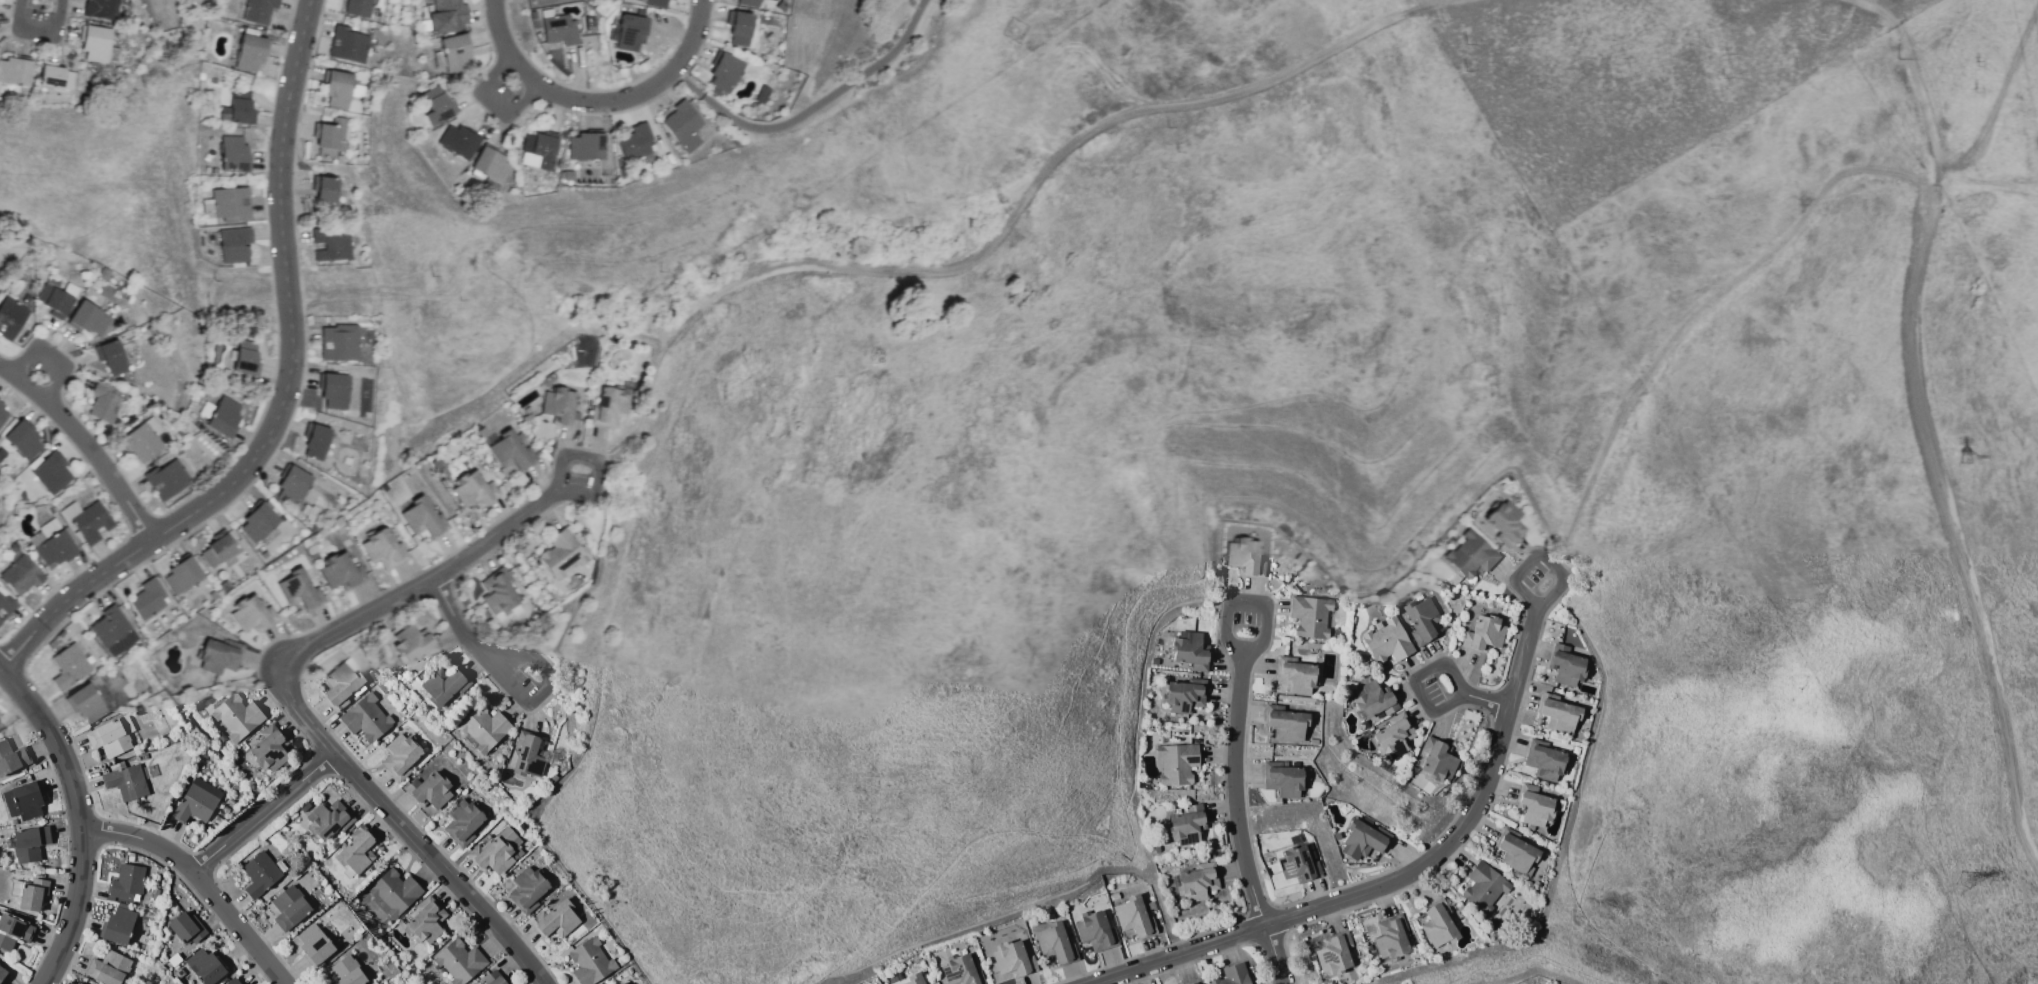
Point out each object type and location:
road: (1433, 1)
building: (655, 3)
building: (748, 3)
building: (356, 7)
building: (100, 9)
building: (257, 10)
building: (446, 16)
building: (739, 29)
road: (38, 30)
building: (558, 30)
building: (629, 32)
building: (93, 43)
building: (348, 45)
building: (250, 52)
building: (454, 52)
power tower: (1979, 63)
building: (14, 71)
building: (723, 71)
road: (1917, 75)
building: (53, 76)
crop: (1637, 79)
building: (337, 88)
power tower: (1978, 91)
road: (598, 98)
road: (496, 102)
building: (240, 107)
road: (812, 107)
building: (438, 108)
building: (683, 126)
building: (330, 136)
building: (457, 141)
building: (634, 141)
building: (585, 146)
building: (539, 147)
building: (233, 153)
building: (489, 164)
road: (1990, 185)
building: (324, 196)
building: (227, 204)
road: (1017, 221)
building: (233, 244)
building: (330, 245)
building: (56, 300)
road: (1696, 315)
building: (10, 317)
building: (89, 318)
building: (339, 342)
road: (53, 357)
building: (112, 358)
building: (246, 358)
building: (333, 391)
road: (285, 397)
building: (104, 402)
building: (1, 404)
building: (610, 405)
building: (560, 407)
building: (2, 416)
building: (221, 416)
road: (1930, 426)
building: (22, 439)
building: (315, 440)
road: (87, 442)
building: (141, 442)
building: (508, 450)
power tower: (1966, 457)
road: (606, 466)
building: (51, 473)
building: (167, 479)
building: (291, 485)
building: (473, 490)
building: (421, 518)
building: (88, 521)
building: (257, 523)
building: (1505, 523)
building: (49, 528)
building: (54, 549)
building: (382, 549)
building: (217, 550)
building: (561, 554)
building: (1470, 555)
road: (1540, 556)
building: (1244, 557)
building: (340, 571)
building: (20, 575)
building: (181, 576)
building: (299, 591)
building: (498, 593)
building: (147, 599)
road: (1248, 603)
building: (5, 605)
building: (251, 614)
building: (1311, 615)
building: (1422, 620)
building: (112, 631)
building: (1482, 634)
building: (1386, 641)
building: (412, 643)
building: (1189, 650)
building: (219, 656)
building: (1564, 665)
building: (68, 666)
road: (0, 670)
building: (1293, 674)
road: (1416, 681)
building: (342, 684)
building: (439, 686)
road: (512, 688)
building: (1183, 695)
road: (1485, 698)
building: (1372, 699)
building: (86, 703)
road: (295, 709)
building: (1556, 714)
building: (235, 716)
building: (0, 717)
building: (364, 718)
building: (1286, 721)
building: (482, 727)
building: (110, 736)
building: (1393, 736)
building: (269, 748)
building: (527, 754)
building: (398, 756)
building: (11, 757)
building: (1543, 760)
building: (1436, 761)
building: (1175, 762)
building: (1281, 779)
building: (125, 782)
road: (1235, 789)
building: (427, 790)
building: (26, 799)
building: (195, 801)
building: (1533, 805)
road: (264, 814)
road: (80, 818)
building: (326, 818)
building: (461, 822)
road: (1462, 822)
building: (1188, 828)
building: (1360, 840)
building: (28, 843)
building: (355, 850)
building: (495, 851)
building: (1515, 852)
building: (1297, 862)
building: (258, 873)
road: (200, 879)
power tower: (1963, 879)
building: (1196, 881)
building: (125, 883)
building: (1482, 887)
building: (526, 889)
building: (393, 892)
building: (31, 894)
building: (288, 907)
building: (1131, 916)
building: (425, 920)
building: (555, 920)
building: (117, 924)
building: (1436, 924)
building: (184, 928)
building: (12, 931)
building: (1094, 931)
building: (1389, 936)
building: (312, 943)
building: (1053, 943)
building: (1333, 953)
road: (1180, 954)
road: (1273, 954)
building: (1011, 959)
building: (458, 961)
building: (588, 962)
building: (203, 965)
building: (107, 968)
building: (345, 971)
building: (960, 971)
building: (2, 974)
building: (1231, 975)
building: (492, 978)
building: (912, 979)
building: (230, 981)
building: (1190, 982)
building: (619, 983)

